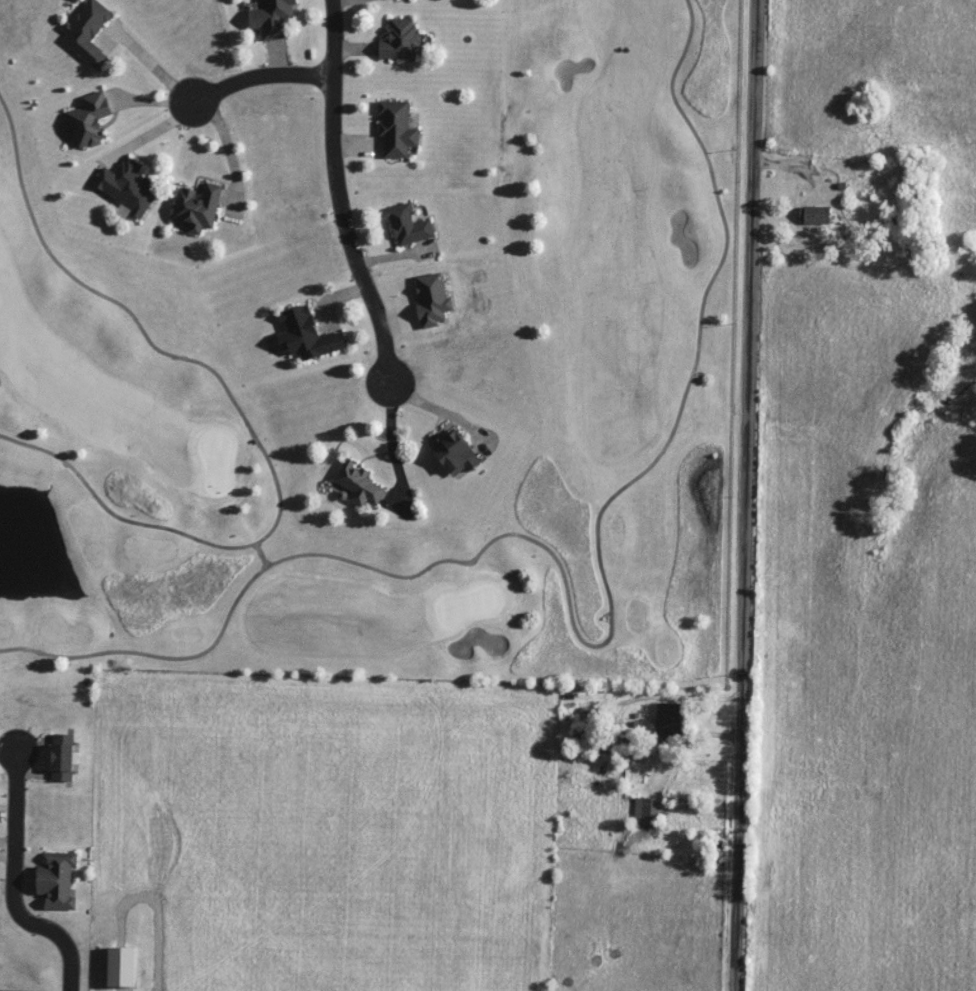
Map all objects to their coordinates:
building: (388, 1)
park: (12, 16)
building: (269, 19)
building: (88, 34)
building: (394, 37)
road: (260, 78)
building: (83, 119)
building: (392, 129)
road: (231, 155)
building: (122, 190)
road: (339, 196)
building: (189, 206)
building: (811, 215)
building: (408, 223)
building: (305, 325)
park: (369, 337)
park: (110, 343)
road: (154, 348)
building: (451, 454)
road: (396, 460)
building: (351, 484)
road: (748, 495)
road: (98, 501)
road: (600, 512)
road: (261, 554)
road: (154, 656)
road: (659, 701)
building: (661, 721)
building: (583, 740)
building: (56, 758)
building: (645, 812)
building: (57, 882)
road: (15, 886)

